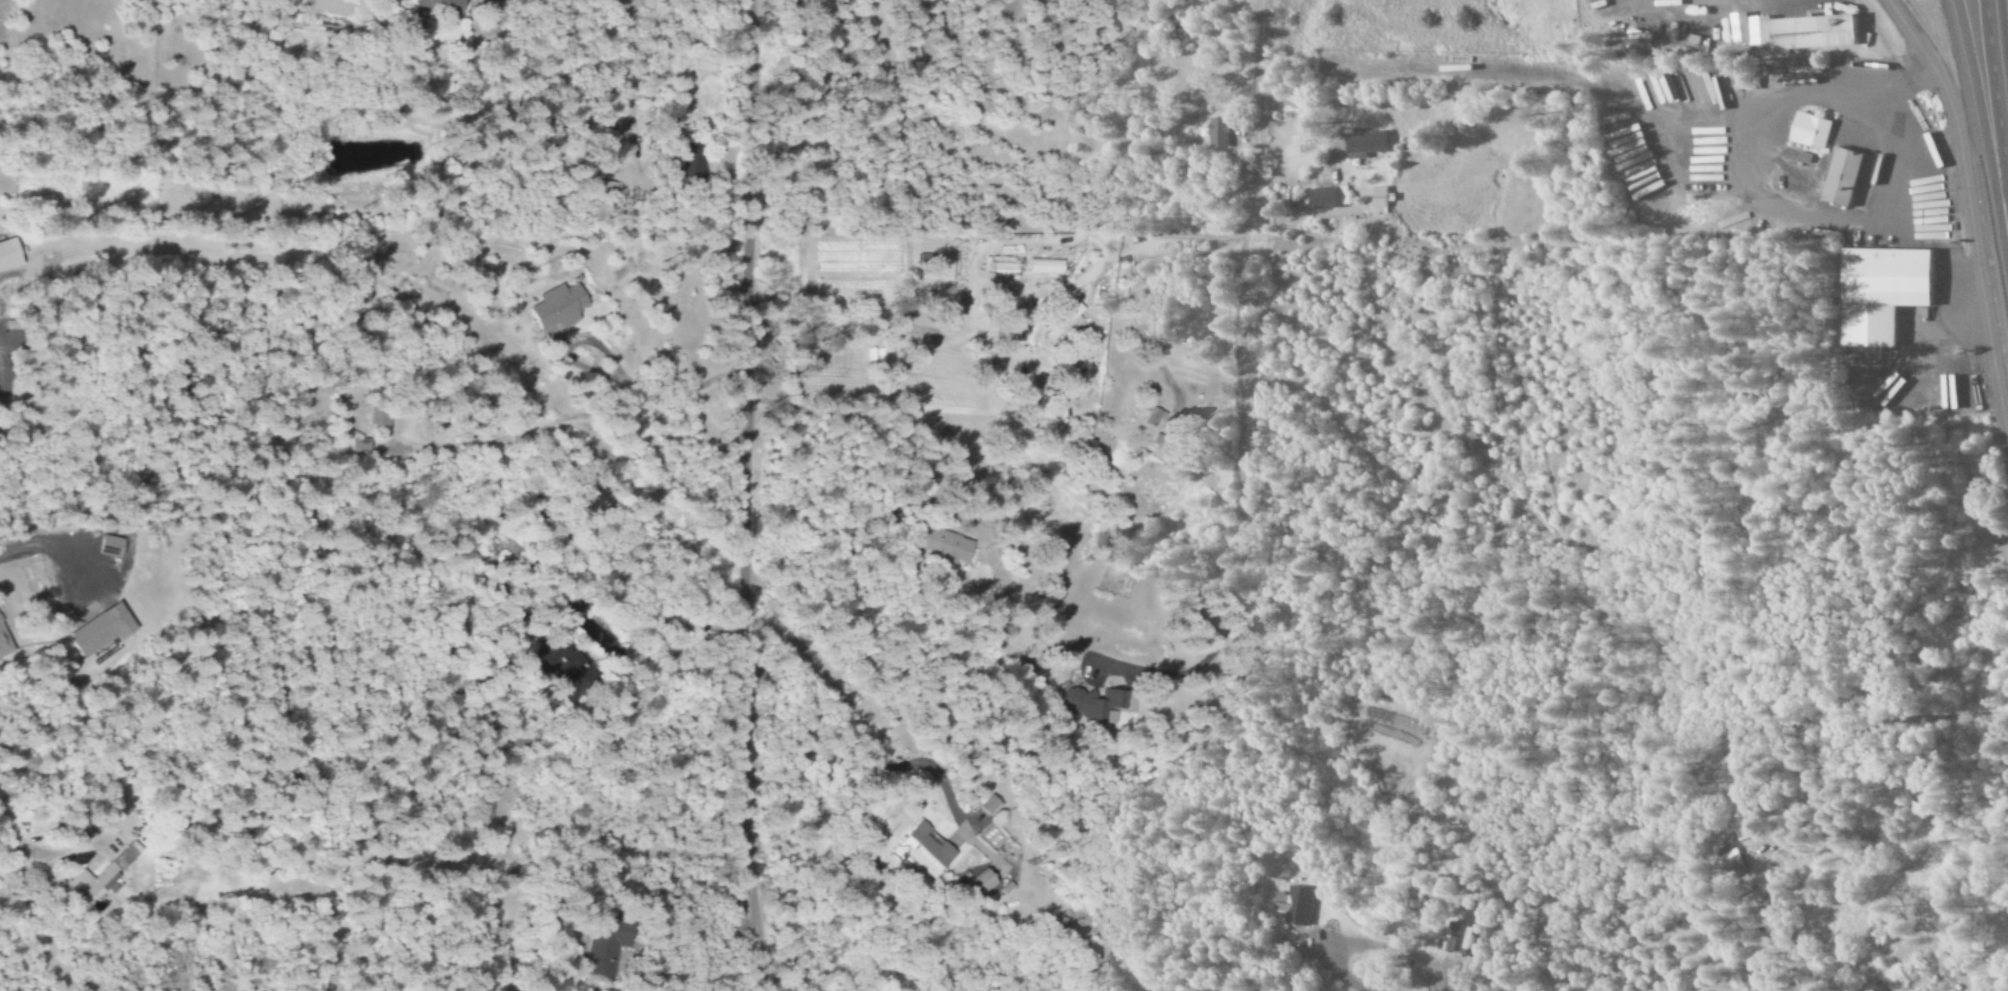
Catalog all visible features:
building: (439, 5)
building: (1174, 20)
building: (1793, 31)
road: (1251, 102)
road: (1995, 108)
road: (1983, 124)
building: (1807, 130)
building: (1214, 133)
building: (1362, 143)
building: (683, 157)
building: (1839, 177)
building: (1325, 197)
building: (1378, 199)
road: (1967, 224)
building: (10, 253)
building: (1044, 266)
building: (1880, 292)
building: (553, 307)
building: (1062, 325)
building: (917, 331)
building: (1153, 419)
building: (1467, 438)
building: (357, 444)
road: (738, 496)
building: (111, 546)
building: (938, 547)
building: (3, 645)
building: (555, 660)
building: (1087, 705)
building: (990, 804)
building: (1736, 822)
building: (923, 851)
building: (1731, 864)
building: (103, 874)
building: (984, 884)
building: (1293, 905)
building: (1446, 941)
building: (597, 963)

